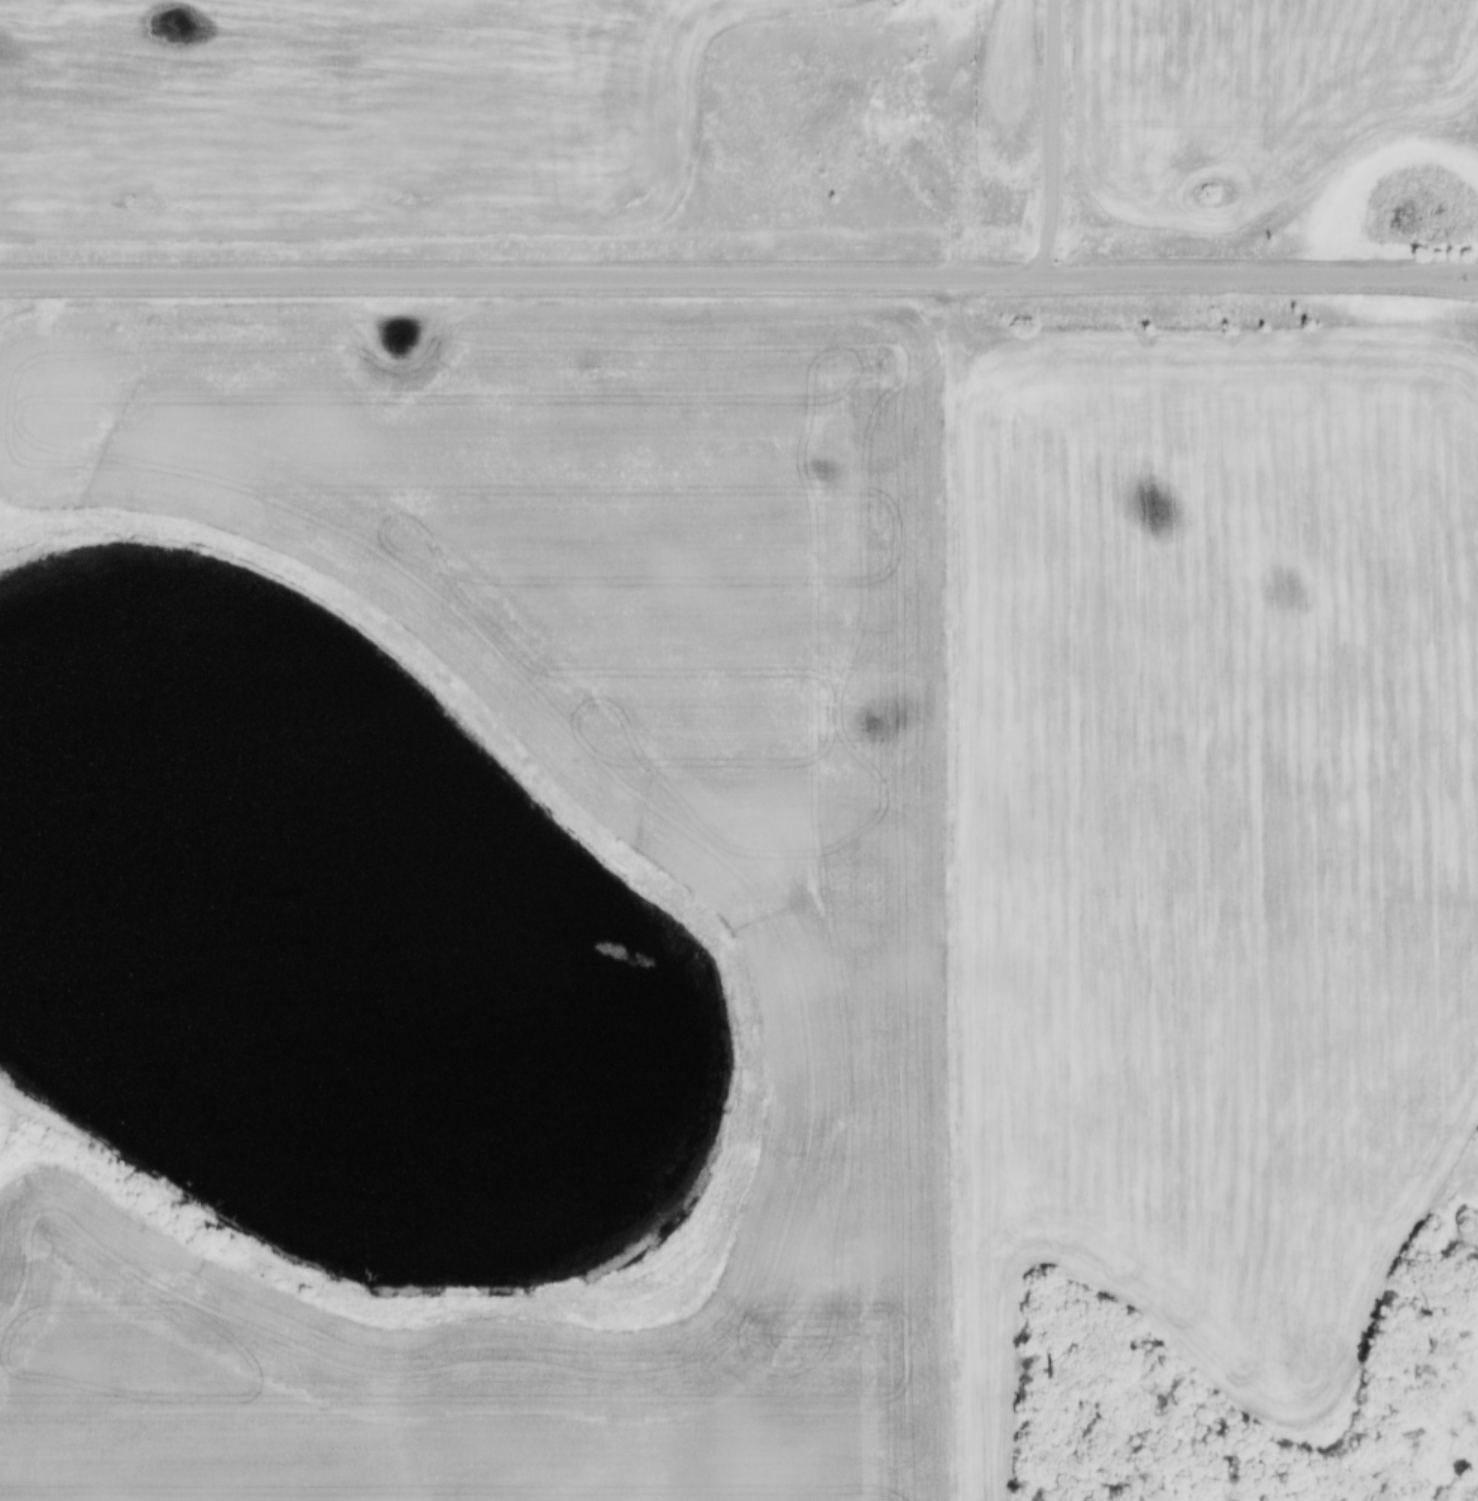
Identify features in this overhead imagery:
building: (866, 121)
building: (873, 130)
road: (1046, 137)
road: (952, 173)
road: (738, 276)

